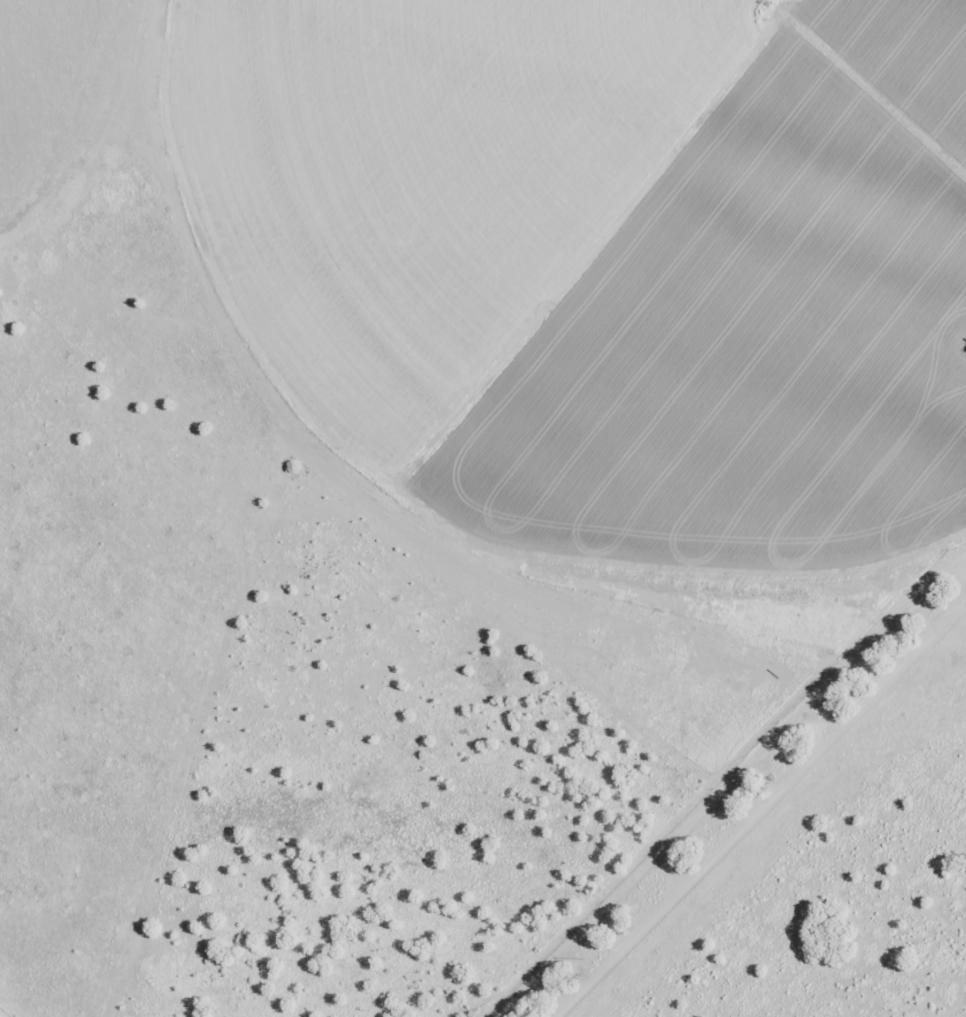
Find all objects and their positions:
road: (757, 804)

